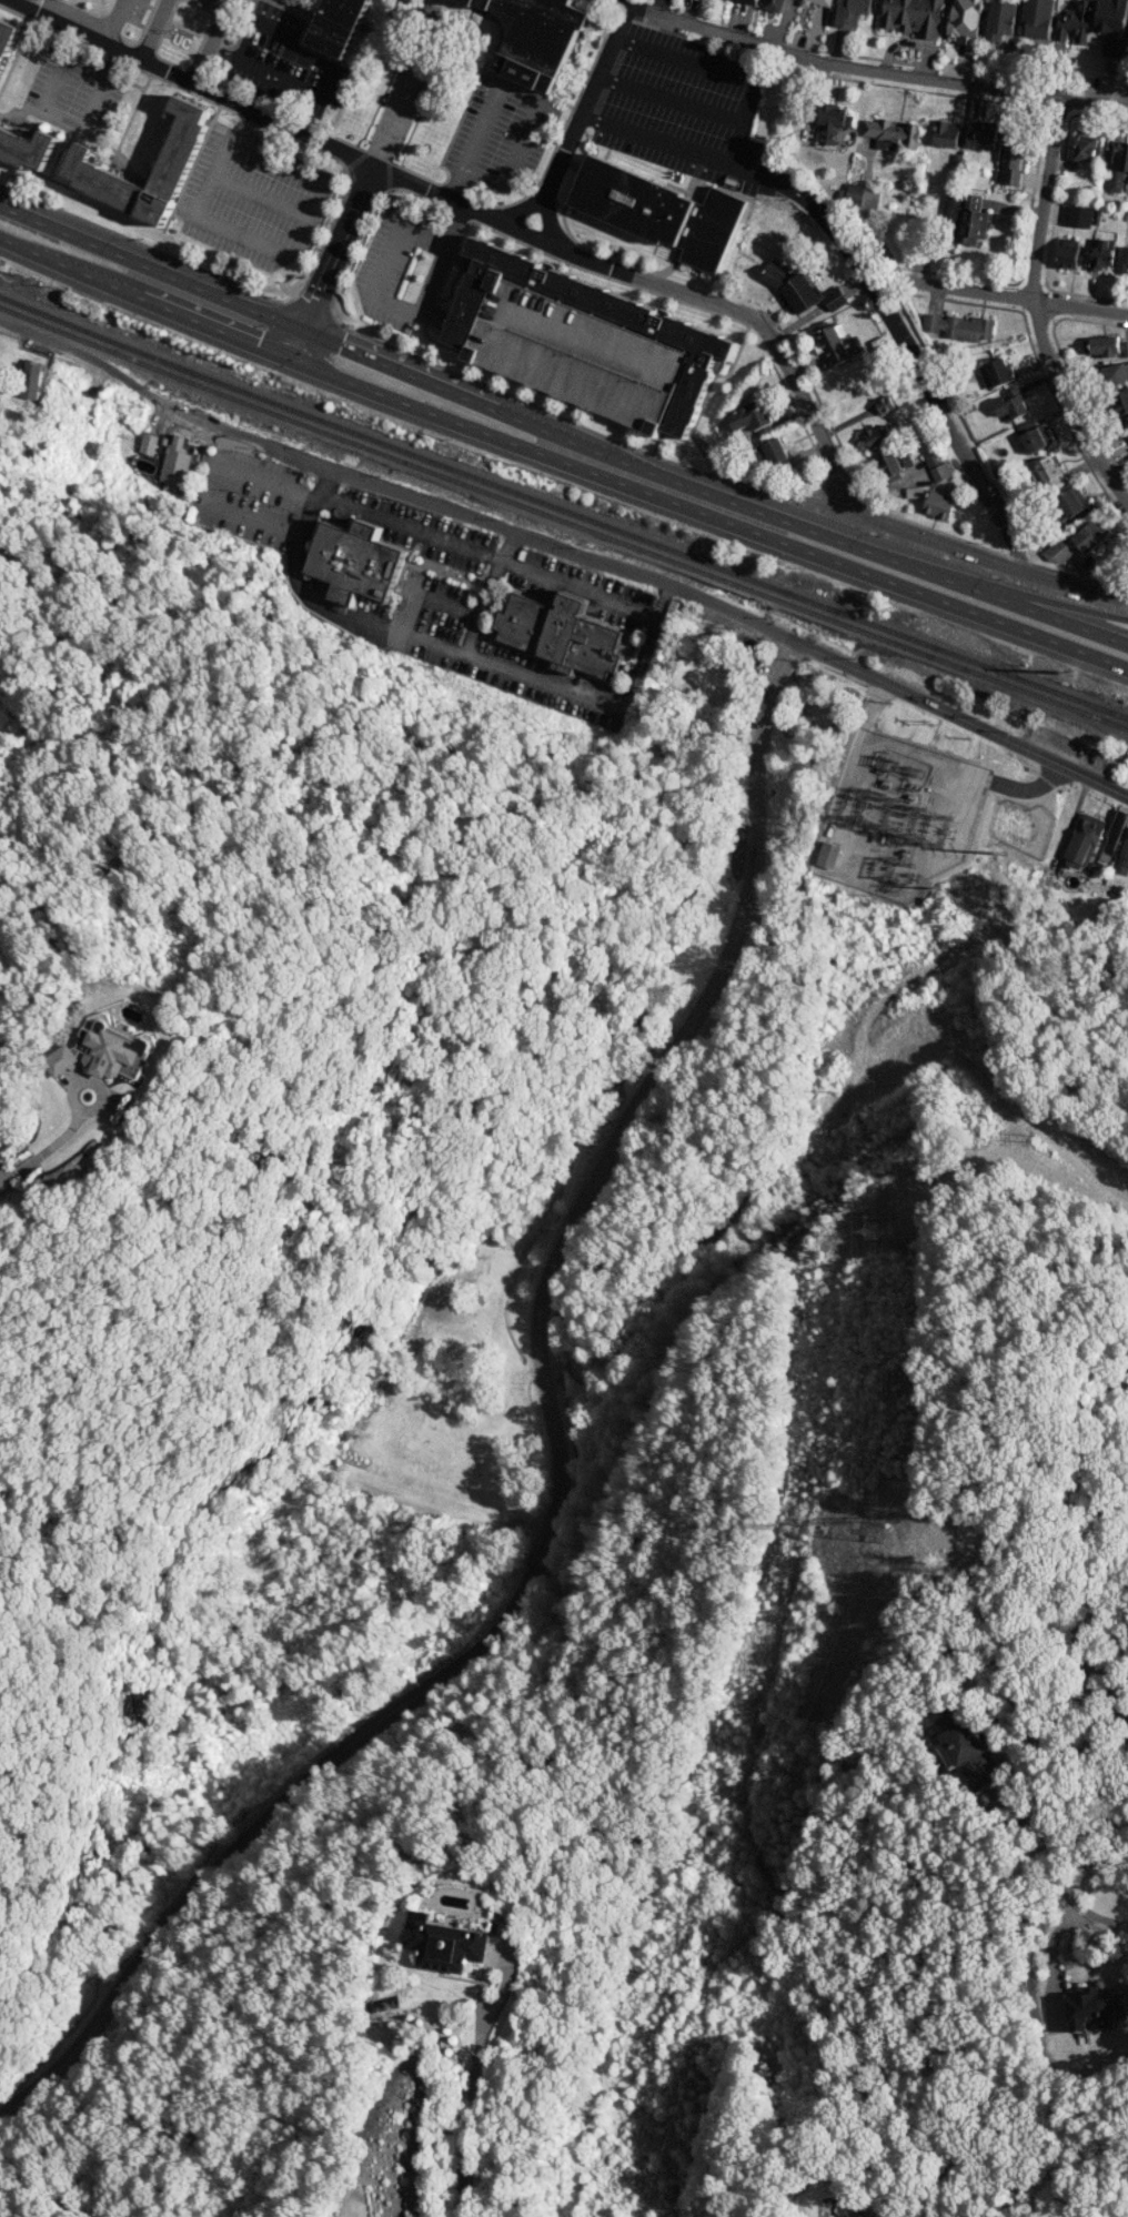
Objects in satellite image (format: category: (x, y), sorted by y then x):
road: (616, 0)
building: (749, 1)
building: (785, 2)
road: (621, 3)
building: (818, 4)
road: (280, 6)
road: (296, 6)
building: (774, 6)
road: (101, 7)
road: (82, 9)
building: (850, 12)
building: (913, 16)
building: (1038, 18)
building: (965, 20)
building: (999, 20)
road: (113, 21)
road: (387, 21)
building: (1075, 21)
building: (1111, 24)
building: (338, 26)
road: (152, 30)
road: (384, 36)
building: (7, 37)
building: (538, 39)
road: (211, 40)
building: (1127, 50)
road: (306, 53)
parking lot: (281, 62)
road: (875, 69)
road: (725, 73)
road: (188, 81)
parking lot: (72, 93)
road: (587, 98)
road: (668, 101)
parking lot: (684, 109)
building: (832, 121)
road: (73, 123)
road: (252, 129)
building: (947, 133)
building: (893, 134)
building: (983, 134)
parking lot: (501, 138)
road: (473, 142)
road: (521, 142)
road: (223, 148)
building: (26, 149)
building: (1084, 149)
building: (1013, 154)
road: (391, 159)
building: (1117, 164)
road: (351, 167)
road: (303, 170)
building: (85, 171)
road: (387, 182)
road: (260, 194)
building: (860, 198)
parking lot: (250, 200)
road: (464, 204)
road: (521, 206)
building: (656, 211)
building: (1080, 215)
building: (965, 216)
road: (547, 218)
road: (239, 235)
road: (2, 239)
road: (140, 243)
road: (336, 248)
building: (1068, 252)
building: (1101, 253)
building: (1126, 262)
road: (60, 264)
parking lot: (391, 265)
road: (151, 266)
road: (863, 274)
building: (800, 289)
road: (702, 298)
road: (1023, 298)
road: (392, 303)
road: (1034, 309)
road: (204, 319)
road: (432, 320)
building: (959, 326)
traffic signals: (304, 330)
building: (676, 333)
road: (232, 341)
building: (833, 341)
road: (299, 342)
building: (1105, 345)
traffic signals: (294, 355)
building: (574, 355)
parking lot: (574, 355)
road: (325, 366)
building: (996, 373)
building: (1116, 373)
building: (30, 380)
building: (1121, 401)
building: (884, 404)
building: (1013, 404)
building: (751, 417)
building: (1127, 421)
building: (876, 435)
building: (1034, 436)
building: (771, 455)
building: (931, 457)
building: (174, 466)
building: (889, 466)
building: (940, 471)
building: (1048, 472)
road: (732, 480)
road: (756, 480)
road: (392, 487)
road: (713, 494)
building: (1069, 503)
building: (938, 504)
railway: (563, 510)
railway: (563, 521)
road: (741, 531)
building: (1088, 535)
road: (930, 540)
building: (1055, 552)
building: (352, 563)
road: (993, 583)
building: (558, 635)
road: (960, 718)
power substation: (888, 815)
building: (1114, 832)
building: (1082, 840)
building: (828, 855)
building: (1122, 856)
building: (101, 1051)
road: (88, 1085)
road: (42, 1151)
power tower: (875, 1222)
road: (560, 1465)
power tower: (869, 1523)
road: (1033, 1744)
building: (967, 1750)
building: (443, 1944)
road: (1077, 1959)
building: (1090, 2008)
road: (471, 2069)

